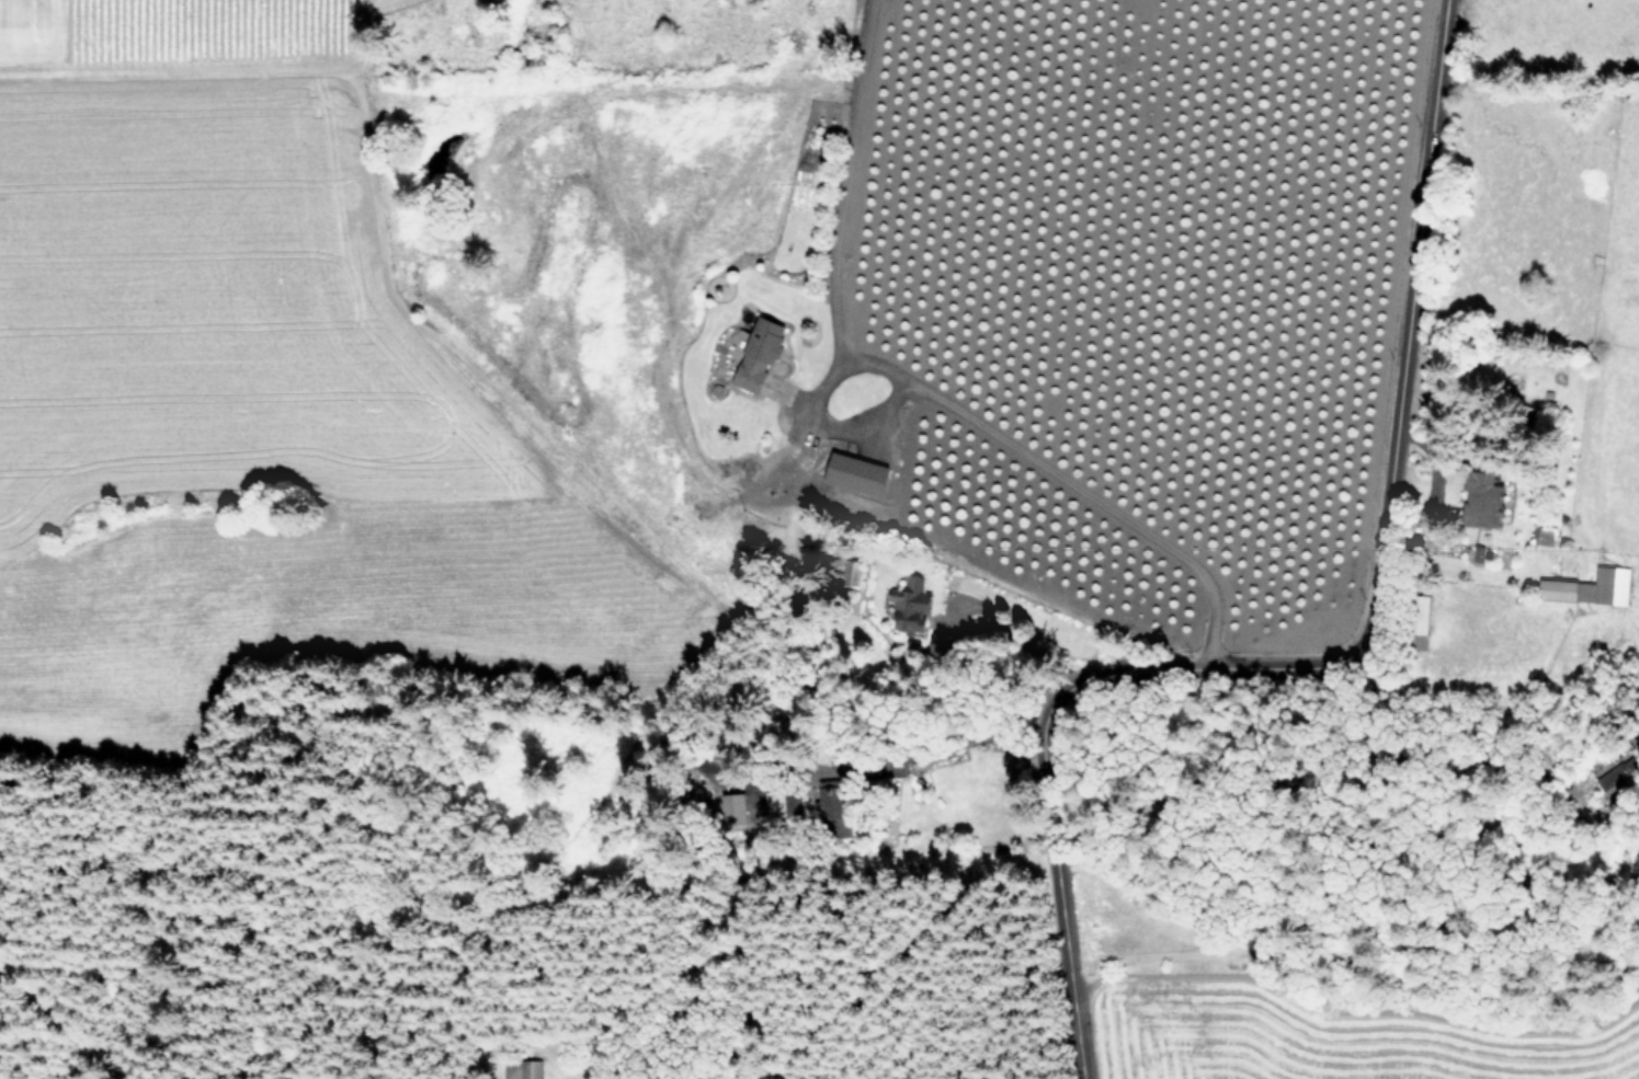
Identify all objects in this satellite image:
crop: (1101, 296)
building: (754, 353)
crop: (1533, 354)
road: (910, 382)
crop: (260, 383)
road: (838, 427)
building: (851, 473)
building: (1479, 497)
building: (1604, 586)
building: (1553, 589)
building: (908, 605)
road: (1022, 634)
building: (1415, 639)
road: (1345, 659)
road: (958, 732)
building: (1615, 780)
building: (786, 801)
crop: (1308, 1013)

